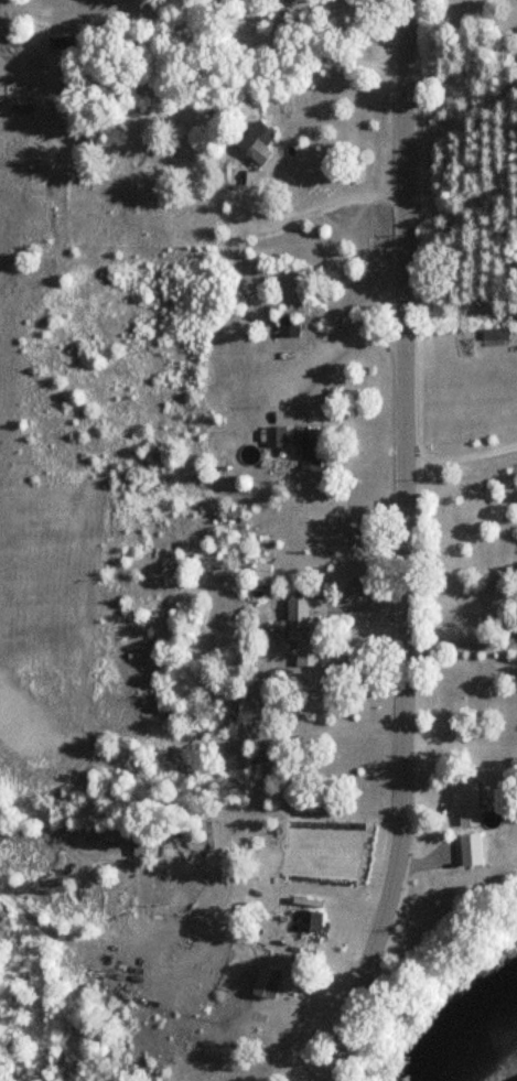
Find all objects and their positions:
road: (269, 41)
building: (57, 42)
building: (252, 139)
road: (258, 183)
building: (292, 320)
building: (492, 334)
road: (326, 349)
building: (274, 436)
building: (306, 448)
road: (460, 457)
road: (402, 545)
building: (295, 616)
road: (457, 637)
road: (510, 639)
building: (465, 803)
building: (138, 843)
building: (308, 921)
building: (263, 982)
river: (471, 1040)

